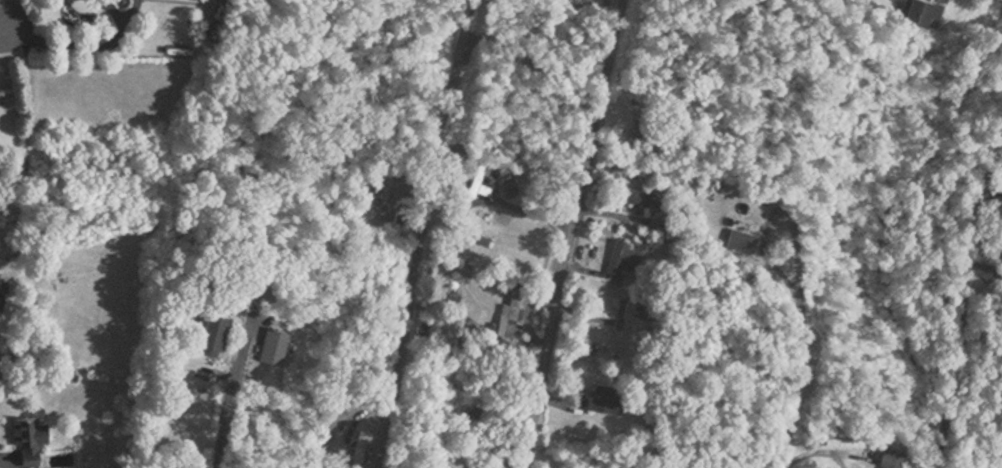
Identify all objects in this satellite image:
building: (927, 11)
road: (124, 14)
road: (70, 42)
road: (707, 113)
building: (646, 127)
building: (481, 180)
building: (647, 198)
building: (751, 219)
road: (427, 233)
road: (582, 233)
building: (627, 256)
road: (964, 266)
building: (512, 311)
building: (630, 317)
building: (218, 333)
building: (277, 344)
building: (607, 397)
road: (792, 404)
road: (232, 426)
building: (32, 438)
building: (848, 442)
building: (361, 447)
road: (3, 457)
building: (896, 457)
building: (482, 465)

